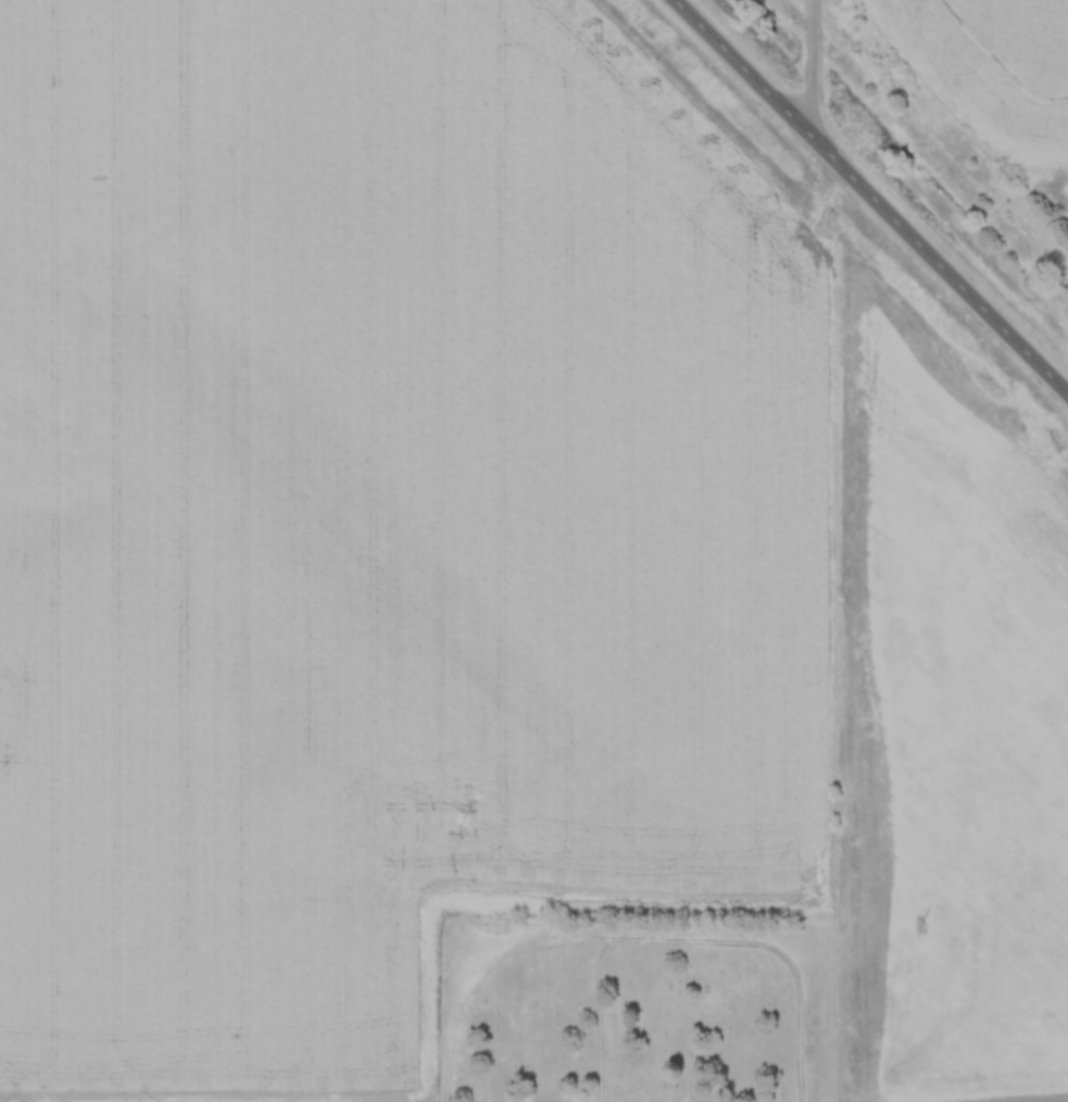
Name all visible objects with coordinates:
road: (815, 72)
road: (870, 197)
power tower: (464, 816)
power tower: (922, 923)
road: (636, 941)
park: (637, 1005)
road: (601, 1022)

